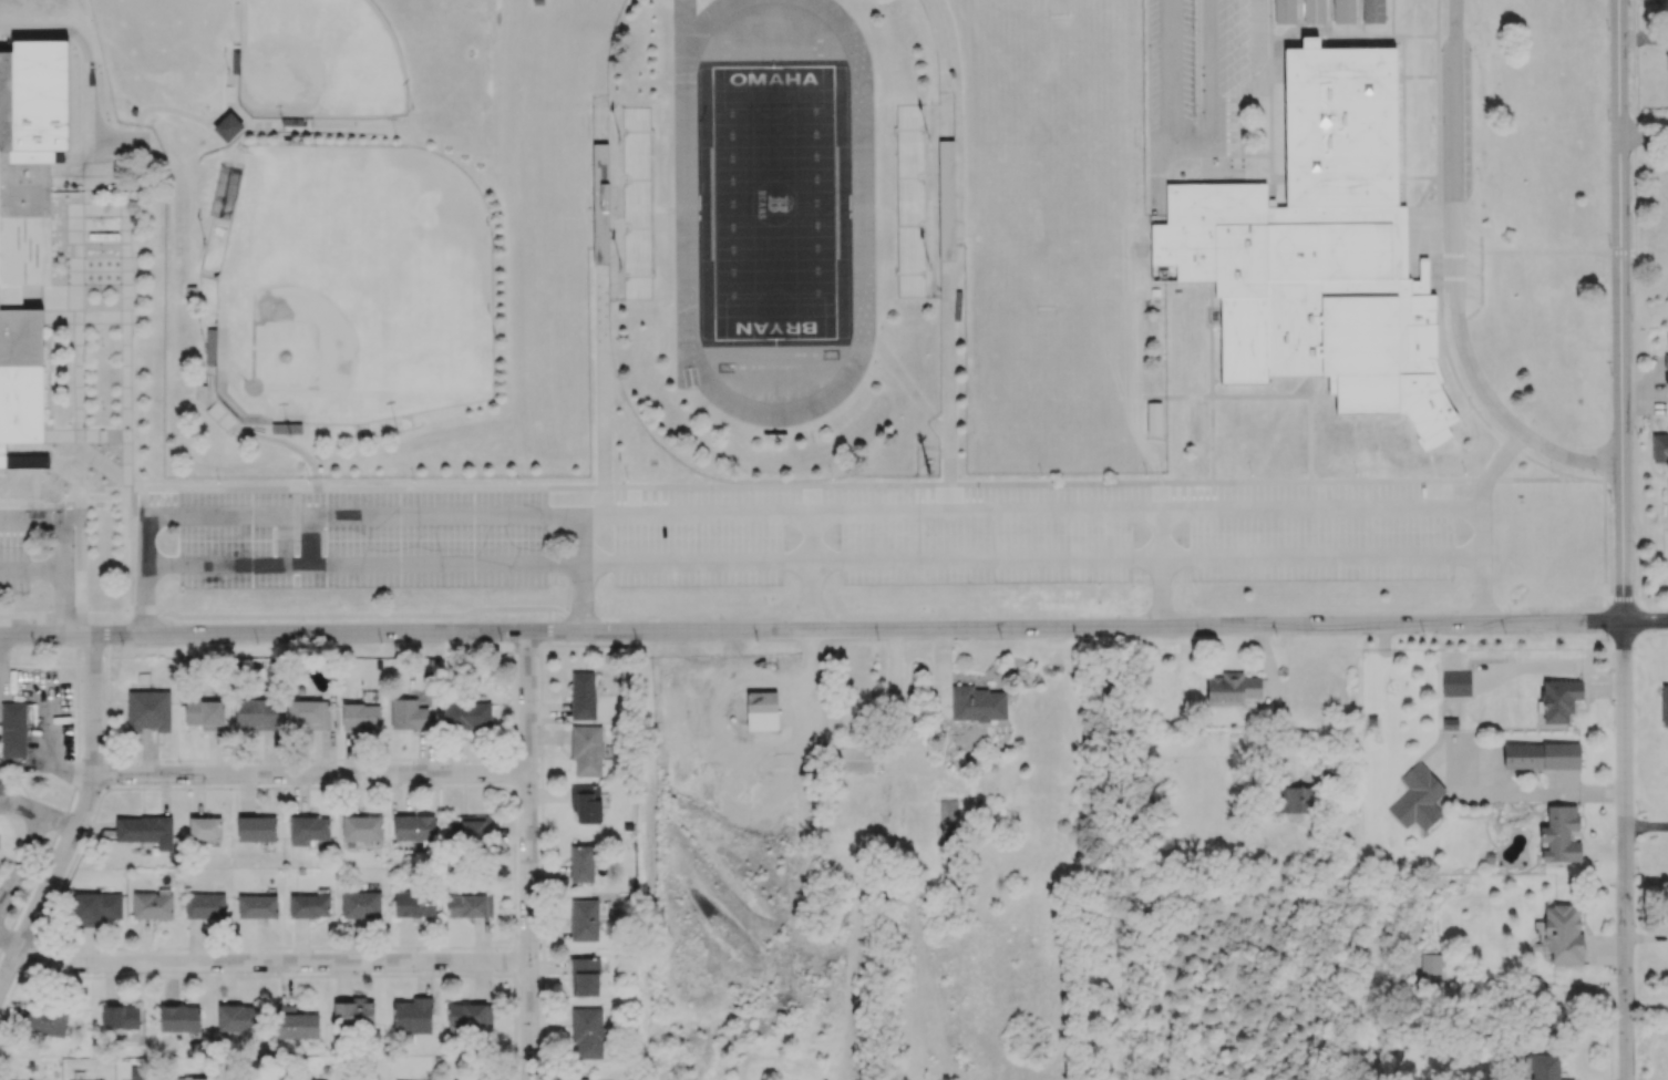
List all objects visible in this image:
building: (538, 3)
building: (1285, 11)
building: (1373, 11)
building: (1315, 12)
building: (1345, 12)
road: (1455, 18)
park: (179, 33)
road: (773, 49)
building: (62, 61)
building: (31, 62)
road: (86, 63)
parking lot: (1192, 78)
building: (63, 97)
building: (32, 99)
park: (450, 119)
road: (1455, 120)
building: (227, 126)
building: (63, 132)
building: (30, 133)
road: (1644, 138)
parking lot: (1454, 148)
road: (1194, 151)
park: (1057, 197)
building: (946, 198)
park: (1651, 199)
track: (861, 200)
park: (772, 202)
building: (910, 203)
building: (600, 204)
building: (638, 205)
building: (132, 206)
building: (1305, 233)
building: (21, 284)
park: (353, 288)
building: (192, 294)
road: (1621, 310)
building: (210, 346)
road: (782, 356)
building: (1666, 361)
road: (775, 368)
building: (1666, 376)
road: (1475, 380)
road: (951, 393)
building: (203, 394)
road: (603, 395)
park: (1060, 398)
building: (222, 418)
building: (1153, 419)
building: (286, 428)
building: (1659, 448)
building: (1172, 456)
building: (320, 471)
parking lot: (1667, 495)
road: (1320, 510)
road: (882, 512)
road: (1057, 512)
road: (697, 513)
road: (244, 517)
road: (422, 517)
road: (25, 520)
road: (1482, 522)
parking lot: (697, 537)
parking lot: (358, 538)
parking lot: (986, 546)
parking lot: (16, 557)
road: (1322, 559)
road: (987, 563)
road: (697, 566)
road: (362, 567)
road: (33, 569)
road: (1162, 569)
road: (812, 572)
road: (143, 573)
road: (66, 574)
road: (583, 574)
road: (1646, 620)
road: (812, 630)
building: (1455, 682)
building: (1232, 689)
building: (583, 695)
building: (1559, 699)
building: (977, 703)
building: (1665, 704)
building: (148, 710)
building: (761, 710)
building: (205, 713)
building: (256, 713)
building: (306, 713)
building: (408, 714)
building: (466, 714)
building: (361, 716)
road: (893, 716)
building: (12, 729)
road: (51, 729)
building: (586, 750)
building: (1541, 755)
building: (854, 759)
road: (312, 778)
road: (1533, 795)
building: (1417, 798)
building: (1297, 799)
building: (586, 803)
road: (78, 820)
building: (948, 820)
road: (37, 823)
building: (361, 827)
building: (413, 827)
building: (205, 829)
building: (256, 829)
building: (308, 830)
building: (465, 830)
road: (1647, 830)
building: (146, 831)
building: (1559, 835)
road: (1626, 851)
road: (533, 855)
building: (581, 863)
road: (22, 867)
building: (414, 903)
building: (152, 904)
building: (310, 904)
building: (360, 904)
building: (96, 905)
building: (205, 905)
building: (469, 905)
building: (257, 906)
building: (584, 919)
building: (1563, 934)
road: (10, 939)
building: (1431, 963)
road: (275, 966)
building: (585, 976)
building: (353, 1012)
building: (469, 1014)
building: (412, 1016)
building: (120, 1017)
building: (238, 1017)
building: (178, 1018)
building: (47, 1020)
building: (296, 1024)
building: (588, 1031)
building: (1541, 1066)
building: (194, 1078)
building: (267, 1079)
building: (294, 1079)
building: (578, 1079)

